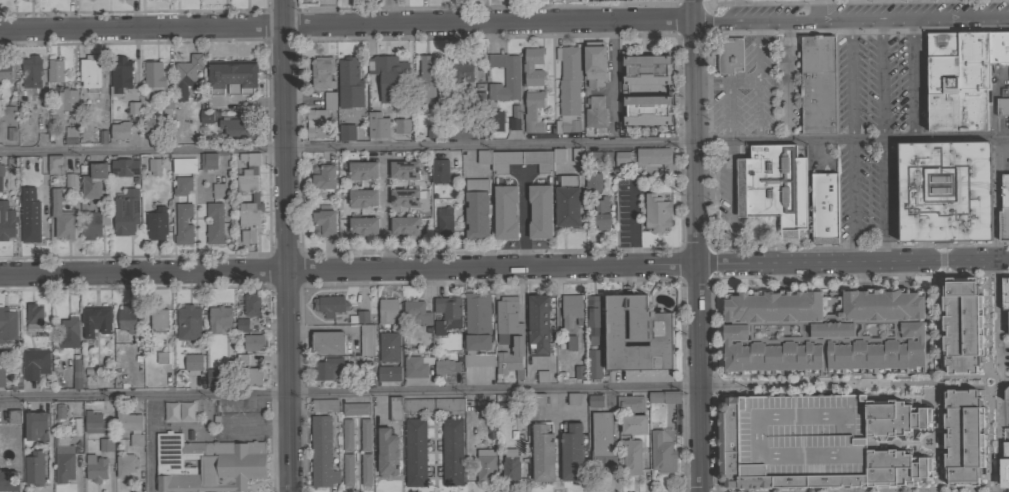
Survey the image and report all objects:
building: (121, 0)
park: (735, 0)
road: (857, 2)
road: (851, 17)
road: (346, 25)
building: (999, 48)
building: (729, 55)
building: (595, 63)
building: (528, 67)
building: (55, 70)
building: (5, 71)
building: (31, 71)
building: (90, 71)
building: (459, 71)
building: (322, 73)
building: (348, 74)
building: (120, 75)
building: (186, 75)
road: (847, 75)
road: (880, 75)
road: (909, 75)
building: (232, 76)
building: (389, 77)
building: (427, 77)
building: (505, 77)
road: (787, 80)
building: (957, 80)
road: (613, 82)
building: (818, 84)
building: (156, 85)
building: (568, 89)
building: (669, 90)
building: (586, 93)
building: (66, 100)
building: (1002, 106)
building: (132, 108)
building: (533, 111)
building: (7, 115)
building: (596, 115)
building: (206, 117)
building: (321, 117)
building: (514, 118)
building: (495, 121)
building: (153, 125)
building: (378, 125)
building: (454, 125)
building: (476, 125)
building: (402, 126)
building: (236, 128)
building: (120, 131)
building: (346, 133)
road: (879, 133)
building: (71, 136)
road: (706, 138)
road: (905, 139)
road: (681, 141)
road: (704, 141)
road: (641, 142)
road: (307, 148)
building: (578, 155)
building: (653, 156)
building: (483, 157)
building: (622, 157)
road: (383, 158)
building: (602, 158)
building: (526, 160)
building: (208, 161)
building: (55, 164)
building: (184, 165)
building: (124, 167)
building: (153, 168)
building: (0, 169)
building: (405, 169)
building: (362, 170)
building: (439, 170)
building: (323, 175)
building: (68, 181)
building: (92, 181)
building: (594, 182)
building: (182, 186)
building: (773, 186)
building: (218, 190)
building: (944, 191)
building: (0, 192)
building: (1004, 193)
building: (404, 197)
building: (255, 198)
building: (363, 198)
road: (851, 200)
road: (883, 200)
building: (567, 201)
building: (477, 208)
building: (824, 208)
building: (540, 211)
building: (125, 212)
building: (505, 212)
building: (656, 212)
road: (386, 213)
building: (601, 213)
building: (29, 216)
building: (61, 217)
road: (523, 220)
building: (6, 221)
building: (444, 221)
building: (183, 223)
building: (324, 223)
building: (93, 224)
building: (156, 224)
building: (214, 224)
building: (405, 225)
building: (1003, 225)
building: (363, 226)
road: (287, 246)
road: (695, 246)
road: (994, 250)
road: (852, 261)
road: (347, 268)
building: (1005, 293)
building: (251, 304)
building: (330, 305)
building: (571, 310)
building: (387, 311)
building: (416, 312)
building: (447, 314)
building: (359, 317)
building: (592, 317)
building: (35, 318)
building: (127, 319)
building: (506, 319)
building: (96, 320)
building: (159, 320)
building: (220, 320)
building: (1008, 322)
building: (189, 323)
building: (7, 324)
building: (538, 324)
building: (242, 325)
building: (961, 325)
building: (822, 332)
building: (69, 333)
building: (636, 334)
building: (418, 337)
building: (487, 339)
building: (366, 340)
building: (254, 342)
building: (327, 342)
building: (571, 342)
building: (386, 348)
building: (162, 357)
building: (241, 359)
building: (34, 362)
building: (192, 362)
building: (594, 363)
building: (383, 366)
building: (416, 366)
building: (445, 367)
building: (328, 369)
building: (579, 371)
building: (77, 374)
building: (385, 375)
road: (986, 375)
building: (214, 376)
building: (253, 376)
road: (934, 376)
building: (2, 377)
building: (542, 377)
road: (971, 382)
road: (816, 385)
road: (348, 392)
building: (1005, 393)
building: (664, 397)
building: (538, 399)
building: (573, 399)
building: (595, 401)
building: (630, 404)
building: (324, 405)
building: (416, 405)
building: (449, 405)
building: (395, 408)
building: (356, 409)
building: (177, 412)
building: (58, 415)
building: (13, 416)
building: (128, 421)
building: (95, 423)
building: (633, 424)
building: (36, 426)
building: (347, 435)
building: (365, 435)
building: (962, 436)
building: (602, 439)
building: (136, 440)
building: (815, 442)
road: (150, 443)
building: (105, 444)
building: (571, 451)
building: (322, 452)
building: (387, 452)
building: (415, 452)
building: (452, 452)
building: (542, 452)
building: (662, 452)
building: (630, 456)
building: (63, 458)
building: (207, 464)
building: (125, 465)
building: (485, 466)
building: (510, 466)
building: (1004, 466)
building: (34, 468)
building: (95, 468)
building: (348, 469)
building: (365, 469)
building: (9, 481)

